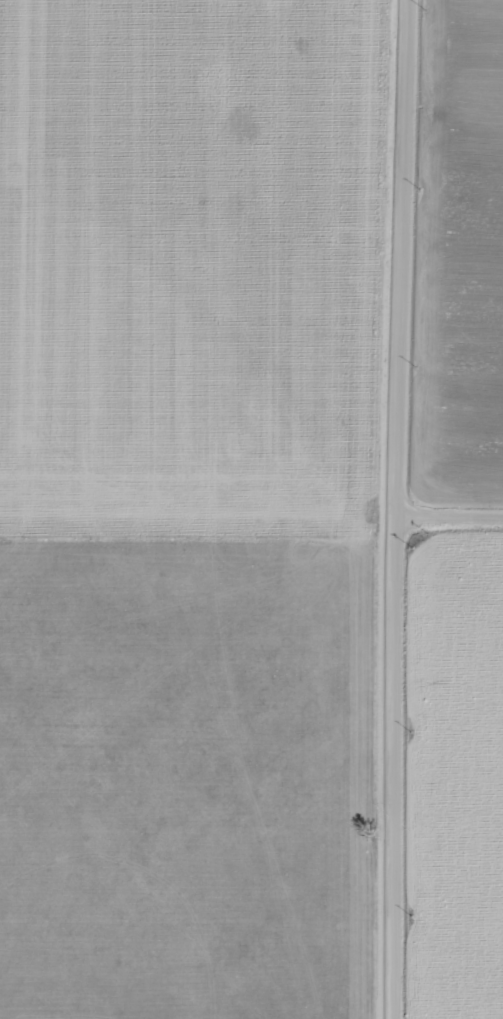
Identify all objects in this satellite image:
road: (409, 509)
road: (456, 542)

